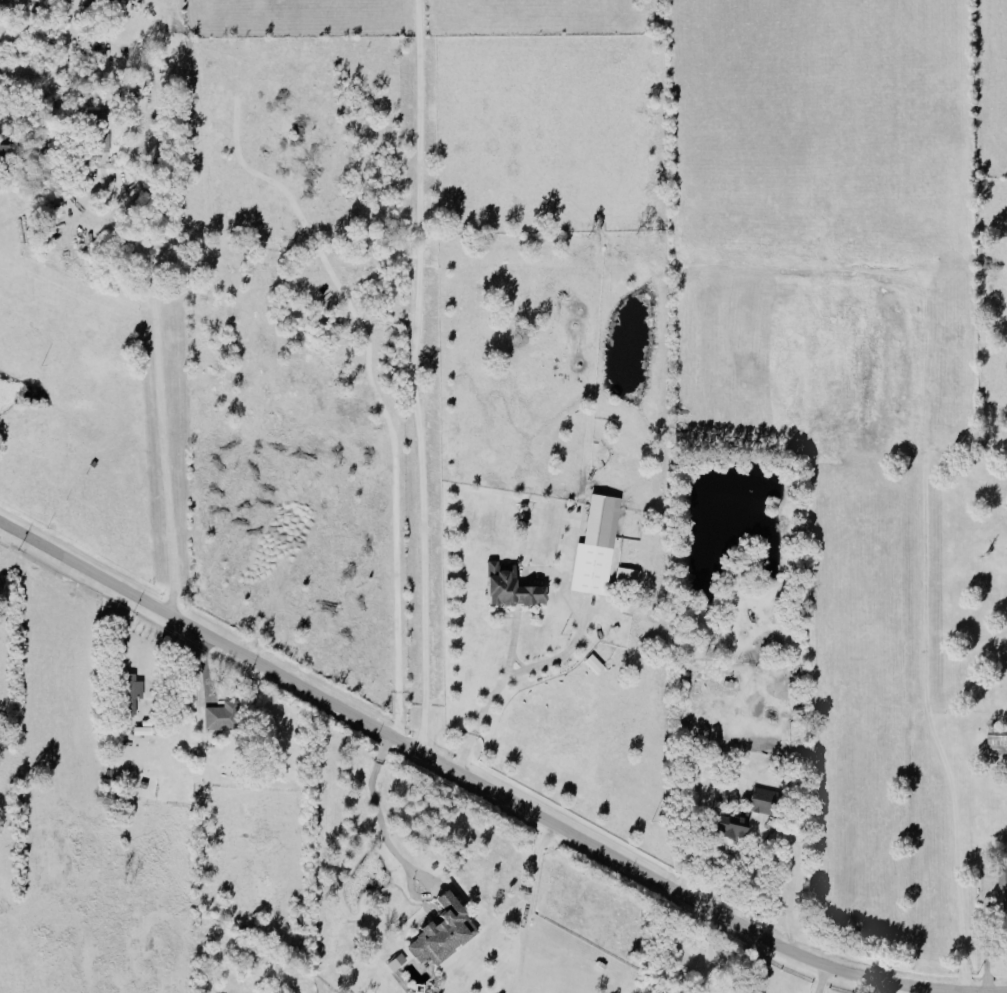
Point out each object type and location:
road: (413, 375)
road: (159, 389)
building: (593, 547)
building: (626, 576)
building: (506, 587)
building: (592, 664)
road: (519, 670)
building: (130, 693)
building: (220, 717)
building: (997, 741)
road: (492, 786)
building: (757, 800)
road: (380, 818)
building: (728, 825)
building: (1003, 891)
building: (439, 930)
road: (986, 934)
building: (394, 962)
road: (822, 976)

